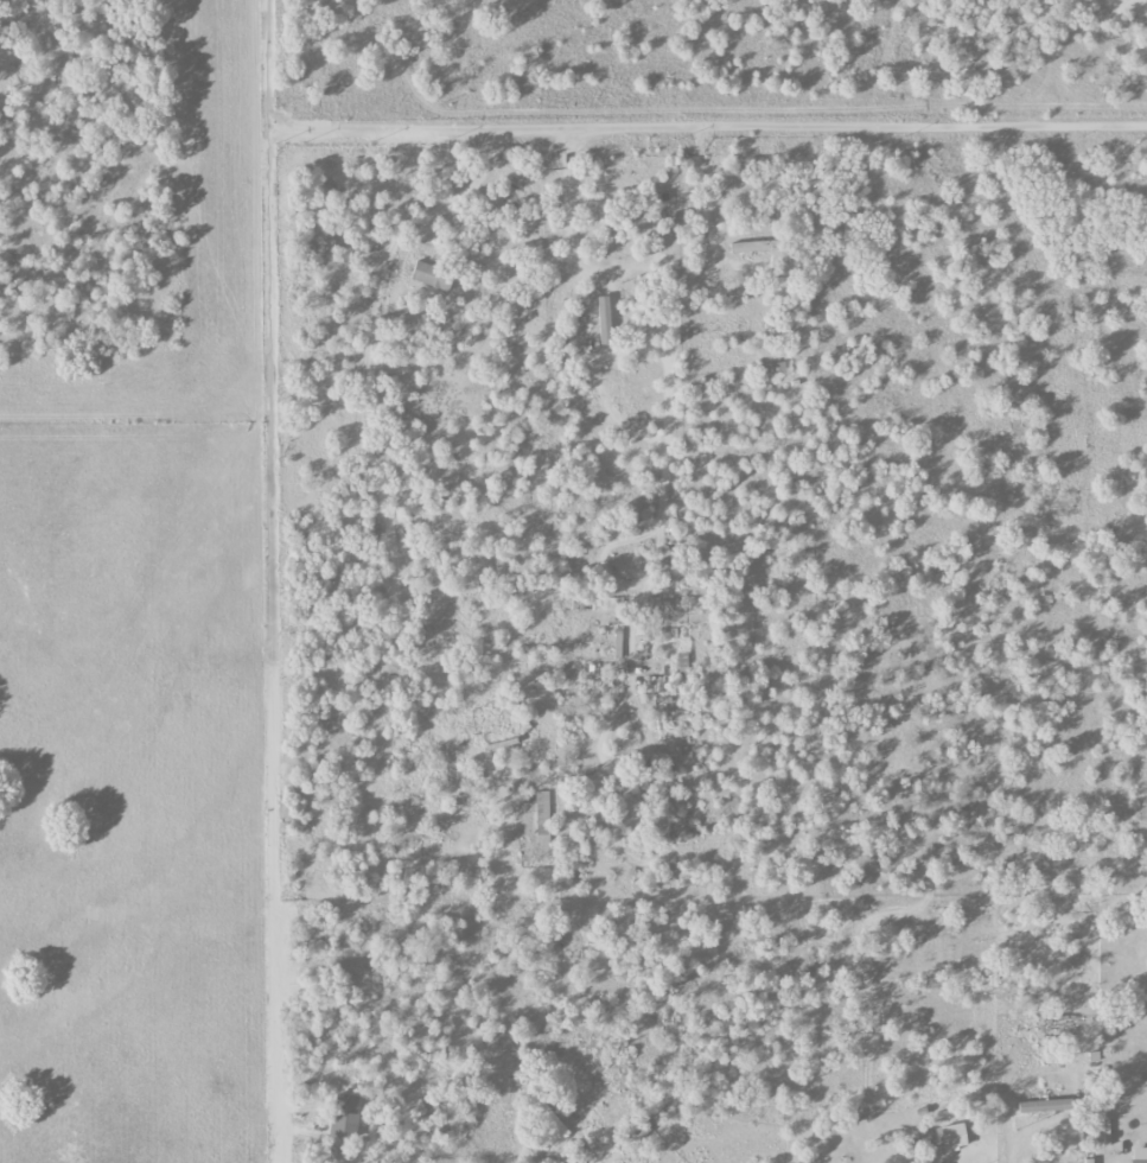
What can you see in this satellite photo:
road: (729, 126)
building: (753, 247)
building: (428, 274)
building: (604, 320)
road: (665, 361)
building: (603, 604)
building: (682, 665)
building: (654, 685)
building: (541, 818)
building: (1044, 1106)
building: (344, 1116)
building: (549, 1118)
road: (1041, 1126)
building: (954, 1136)
road: (280, 1138)
road: (592, 1161)
building: (1139, 1161)

